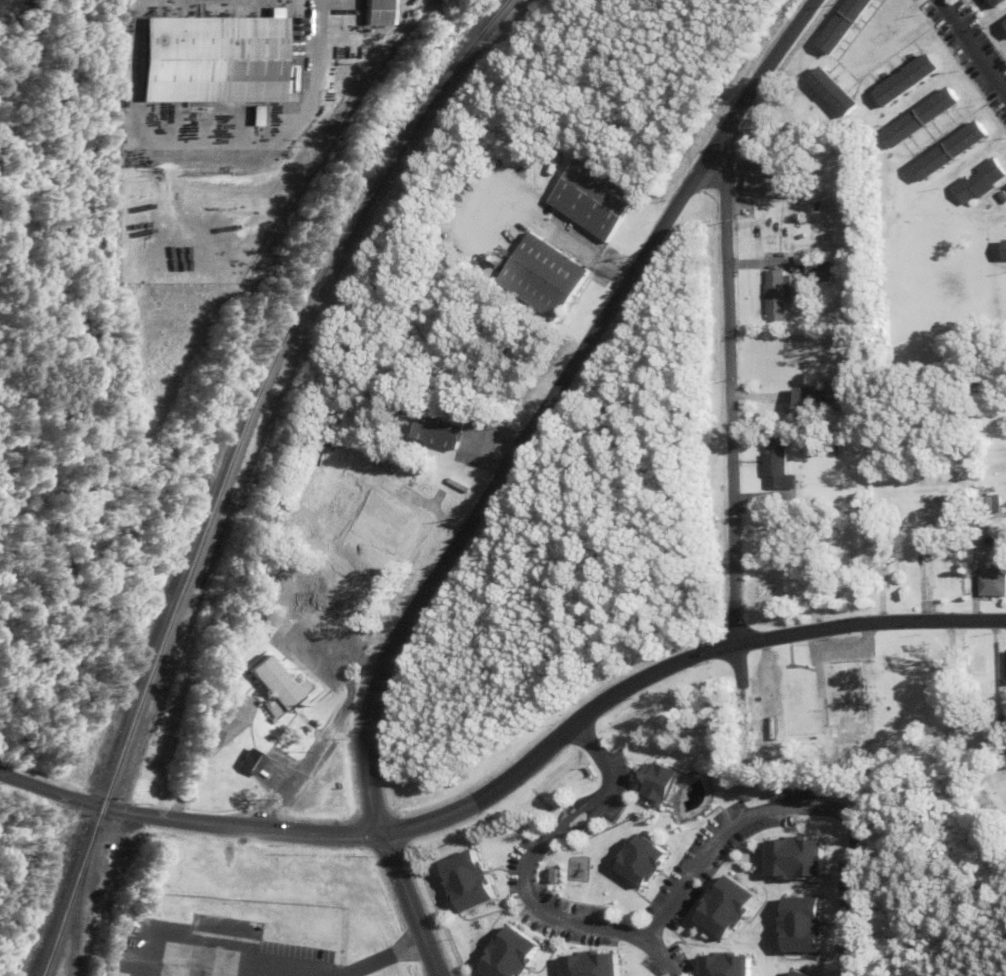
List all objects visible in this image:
building: (995, 3)
building: (378, 13)
building: (1004, 23)
building: (840, 25)
road: (966, 56)
building: (215, 61)
building: (904, 80)
building: (832, 92)
building: (918, 118)
building: (946, 152)
building: (973, 183)
building: (765, 188)
building: (1003, 190)
building: (592, 198)
building: (1003, 251)
building: (814, 269)
building: (539, 277)
building: (772, 296)
road: (540, 402)
building: (811, 404)
road: (722, 424)
building: (430, 432)
railway: (230, 465)
building: (770, 466)
building: (986, 503)
building: (351, 509)
building: (986, 581)
road: (670, 662)
building: (1001, 668)
building: (280, 687)
building: (837, 708)
building: (251, 763)
building: (653, 783)
road: (785, 804)
road: (187, 820)
road: (523, 855)
building: (790, 859)
building: (640, 862)
building: (469, 881)
road: (408, 905)
building: (723, 908)
building: (798, 925)
building: (511, 954)
road: (651, 957)
road: (382, 958)
road: (226, 964)
building: (588, 964)
building: (720, 965)
building: (792, 974)

